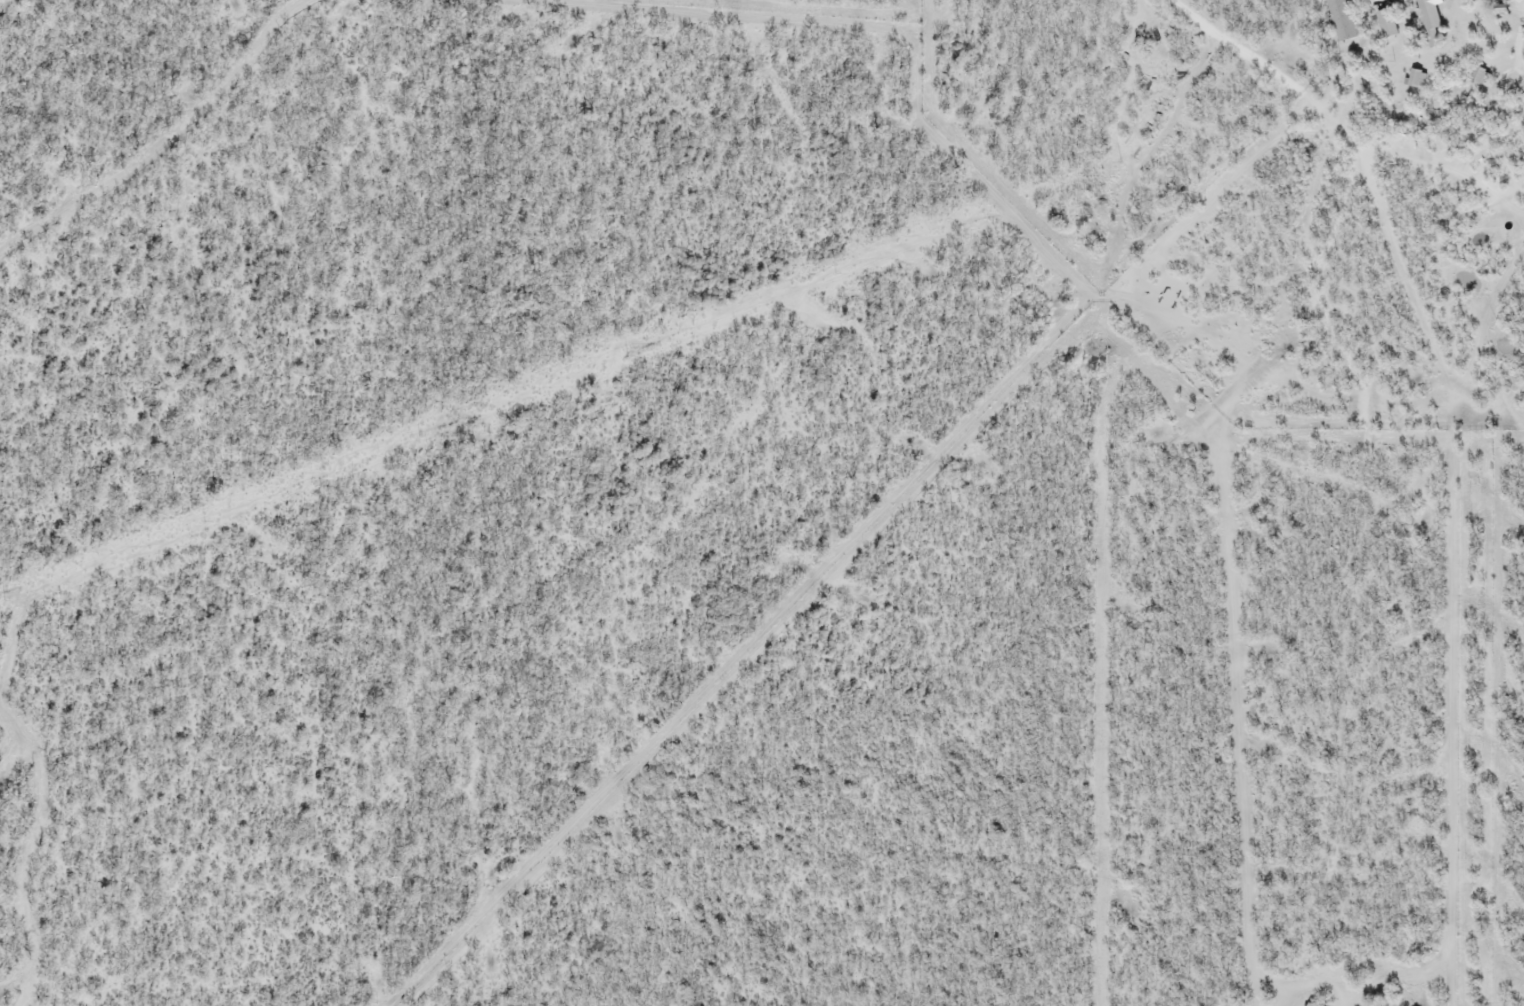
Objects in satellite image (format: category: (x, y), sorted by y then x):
building: (1428, 19)
building: (1385, 20)

